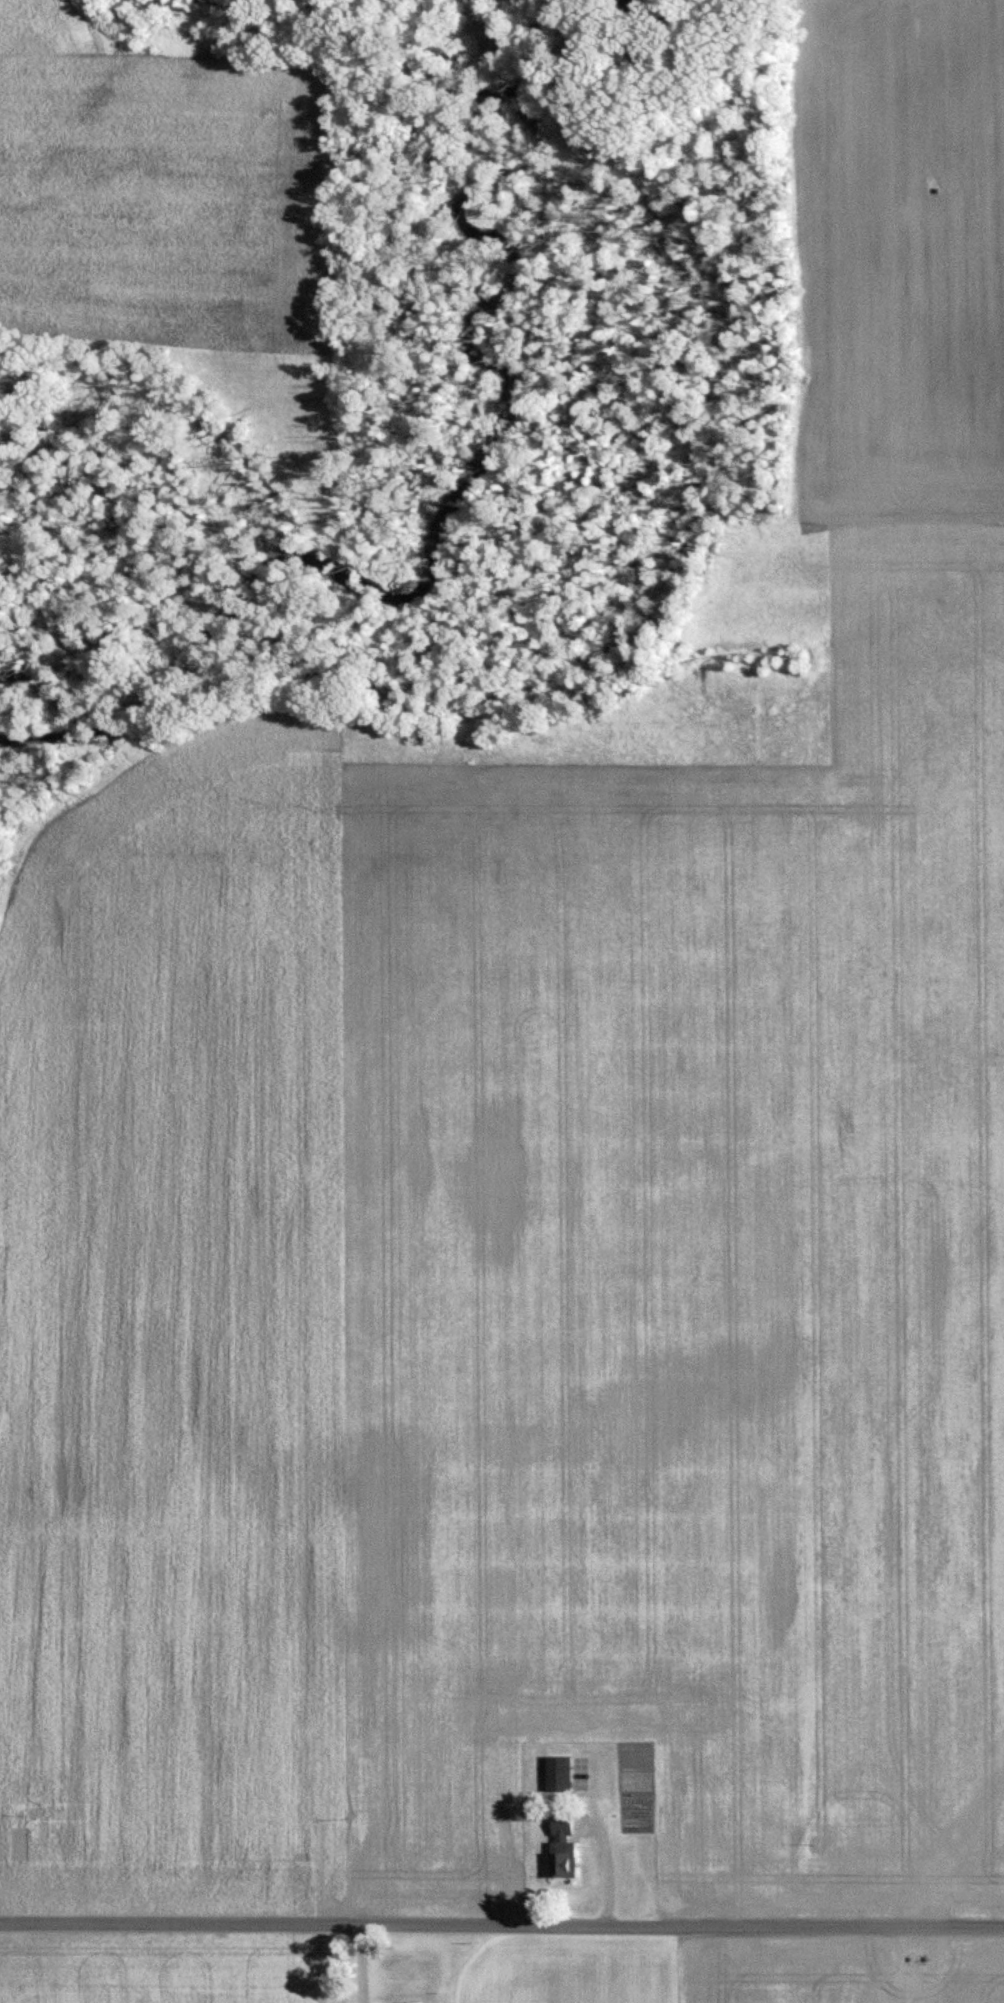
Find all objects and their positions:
river: (662, 19)
river: (456, 502)
building: (558, 1775)
building: (562, 1847)
road: (606, 1876)
road: (502, 1928)
road: (363, 1965)

